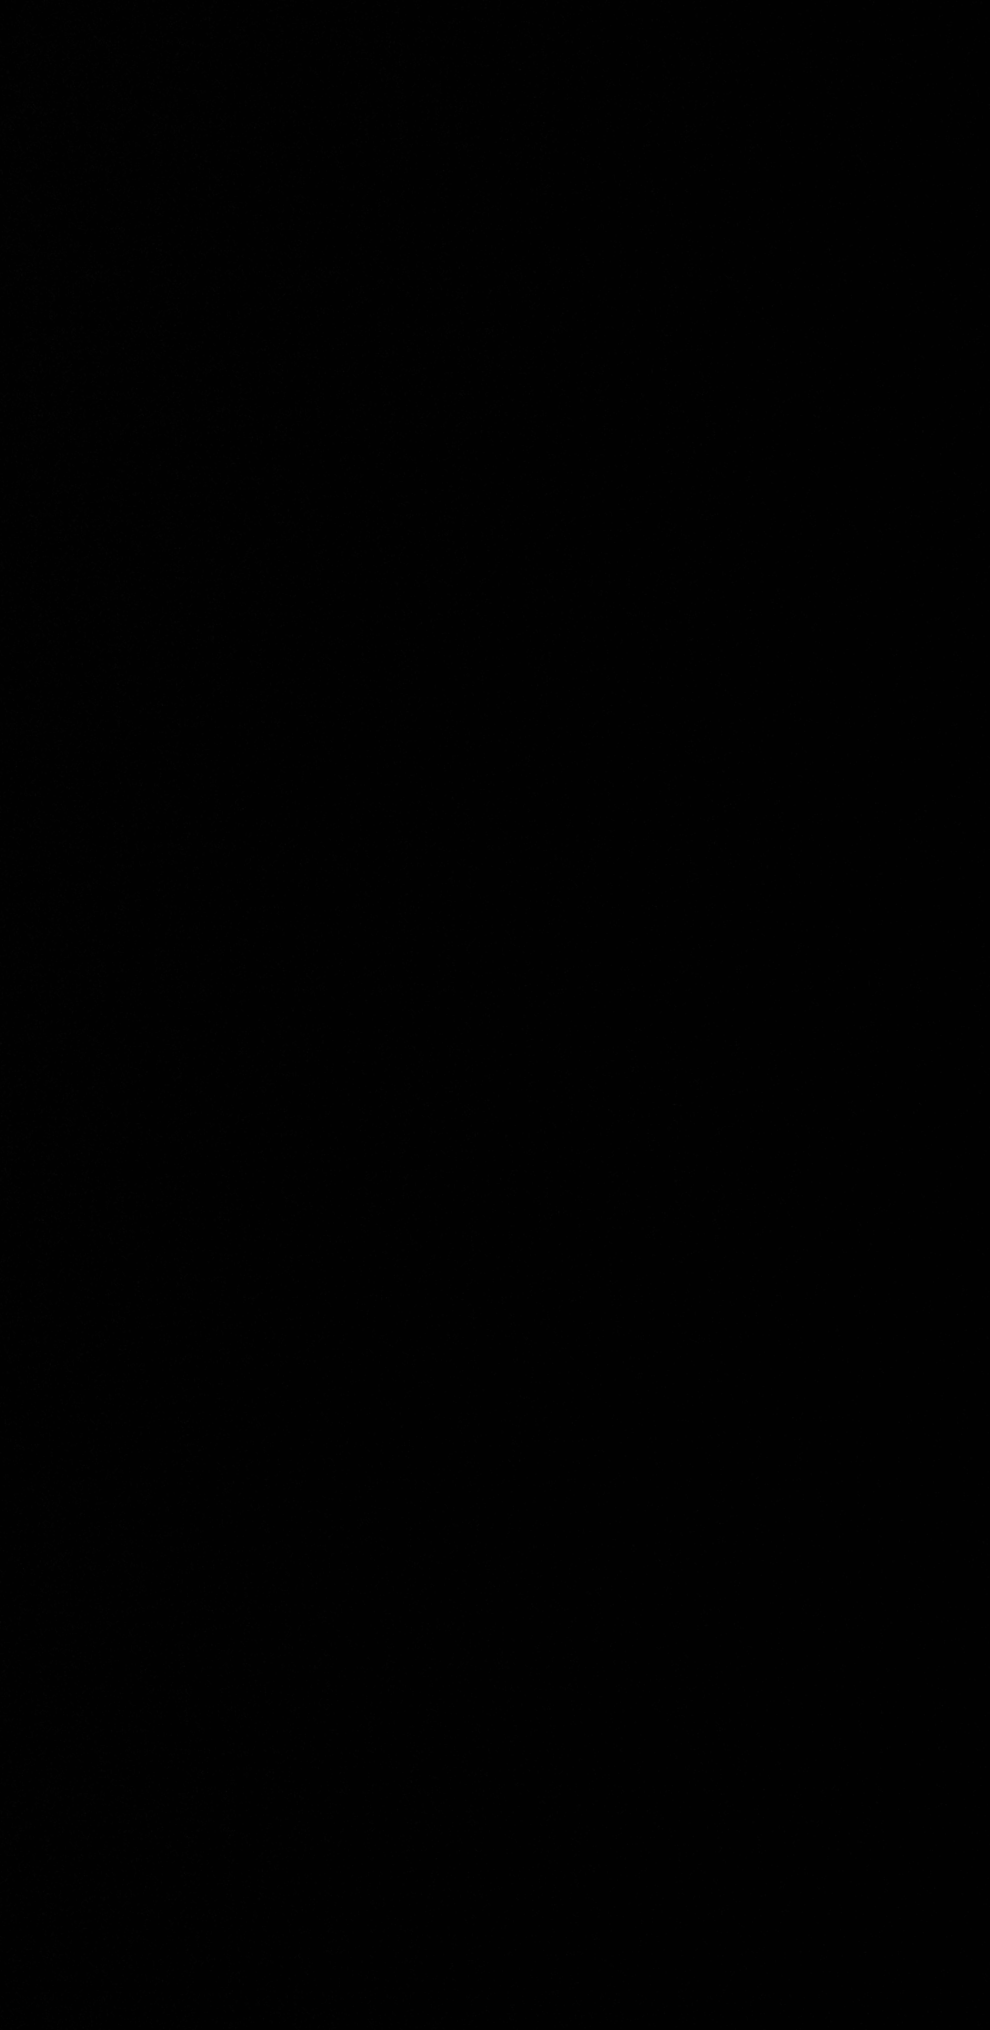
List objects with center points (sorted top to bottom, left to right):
river: (817, 998)

